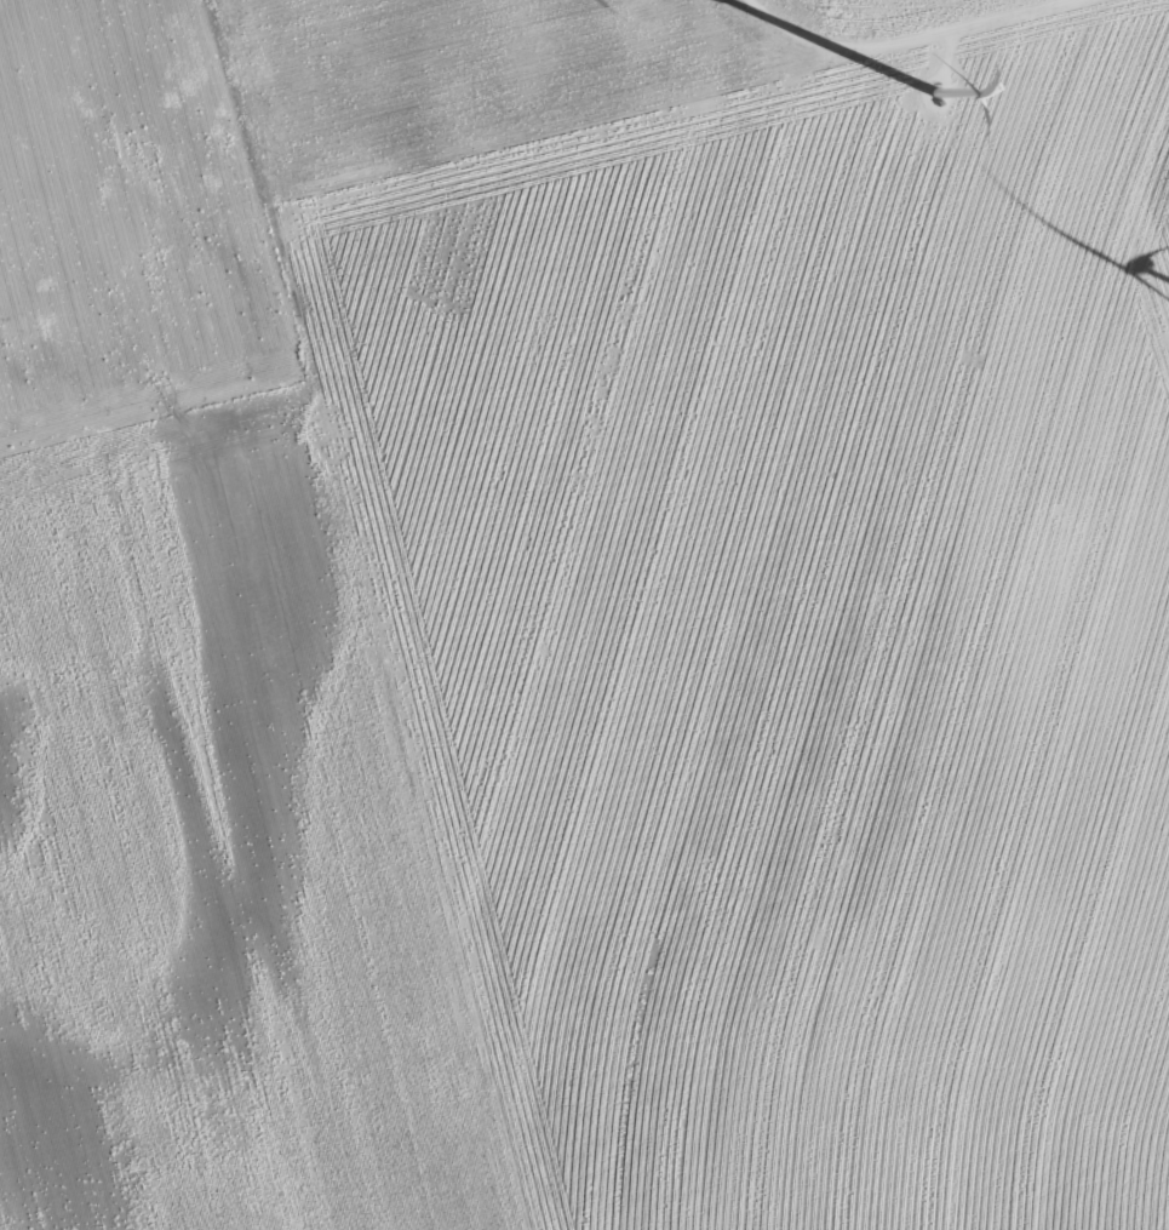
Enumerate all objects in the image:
wind turbine: (919, 110)

